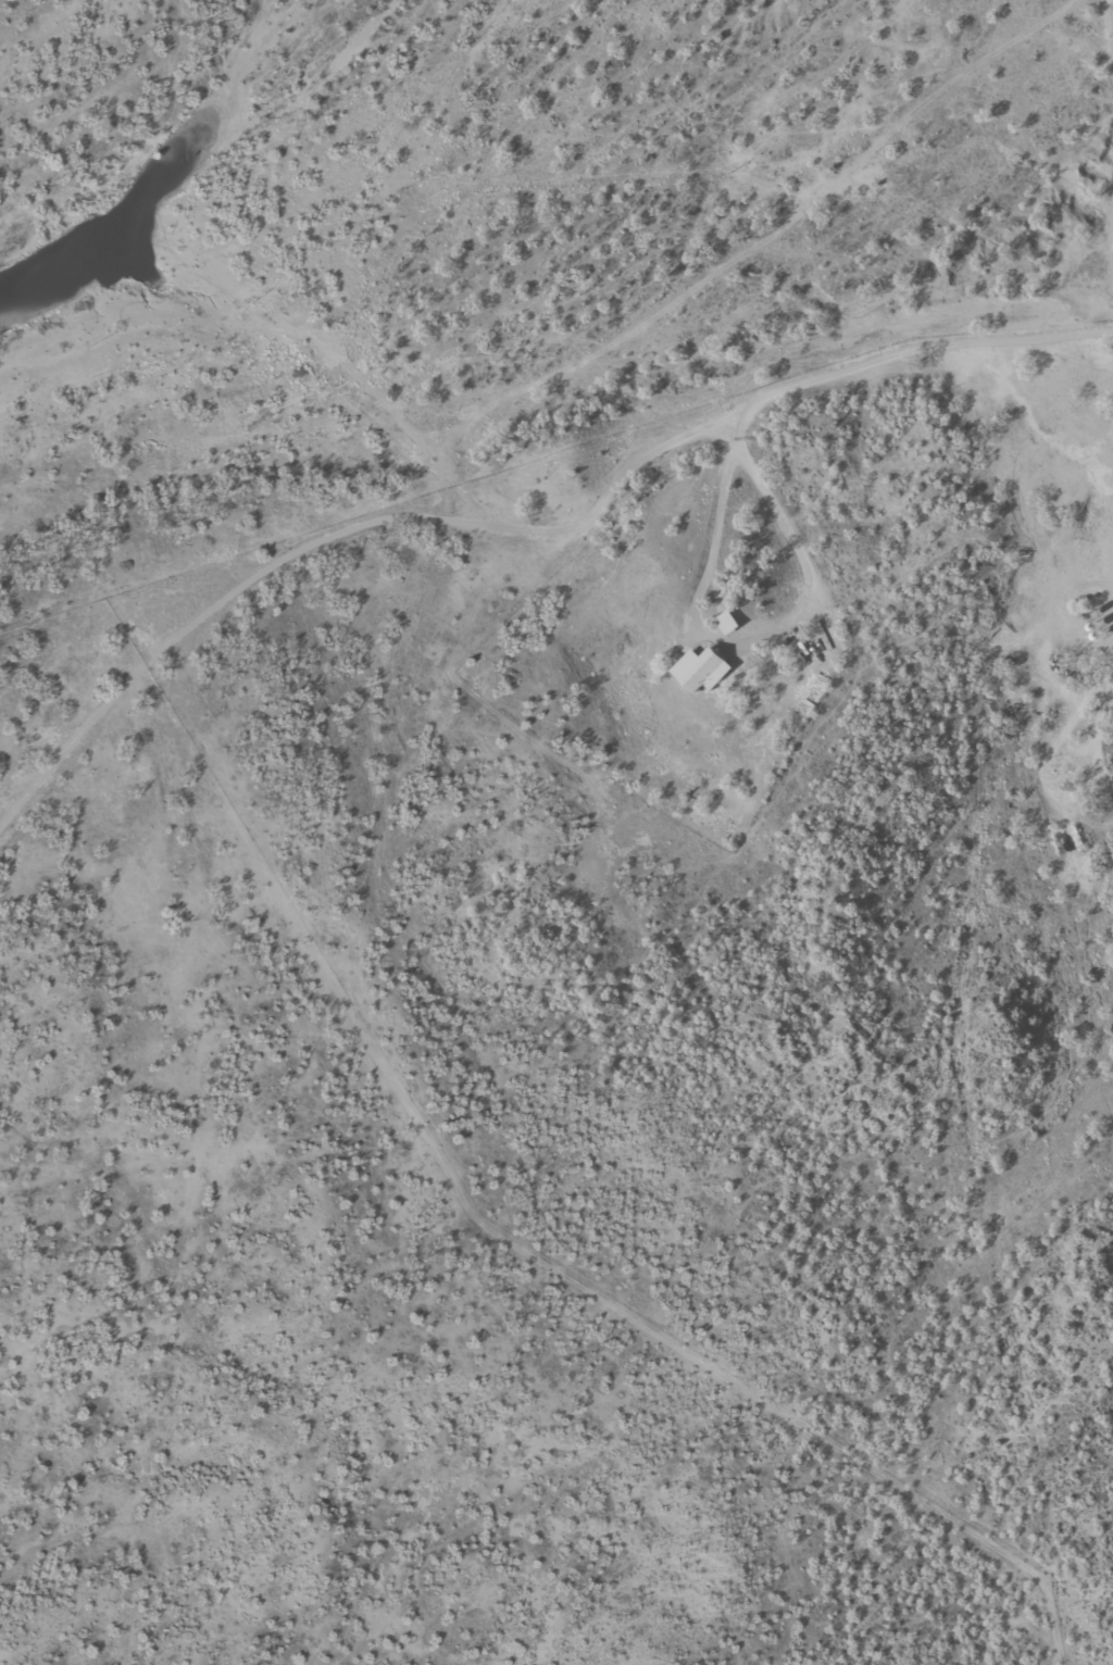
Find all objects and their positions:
building: (730, 622)
building: (705, 668)

